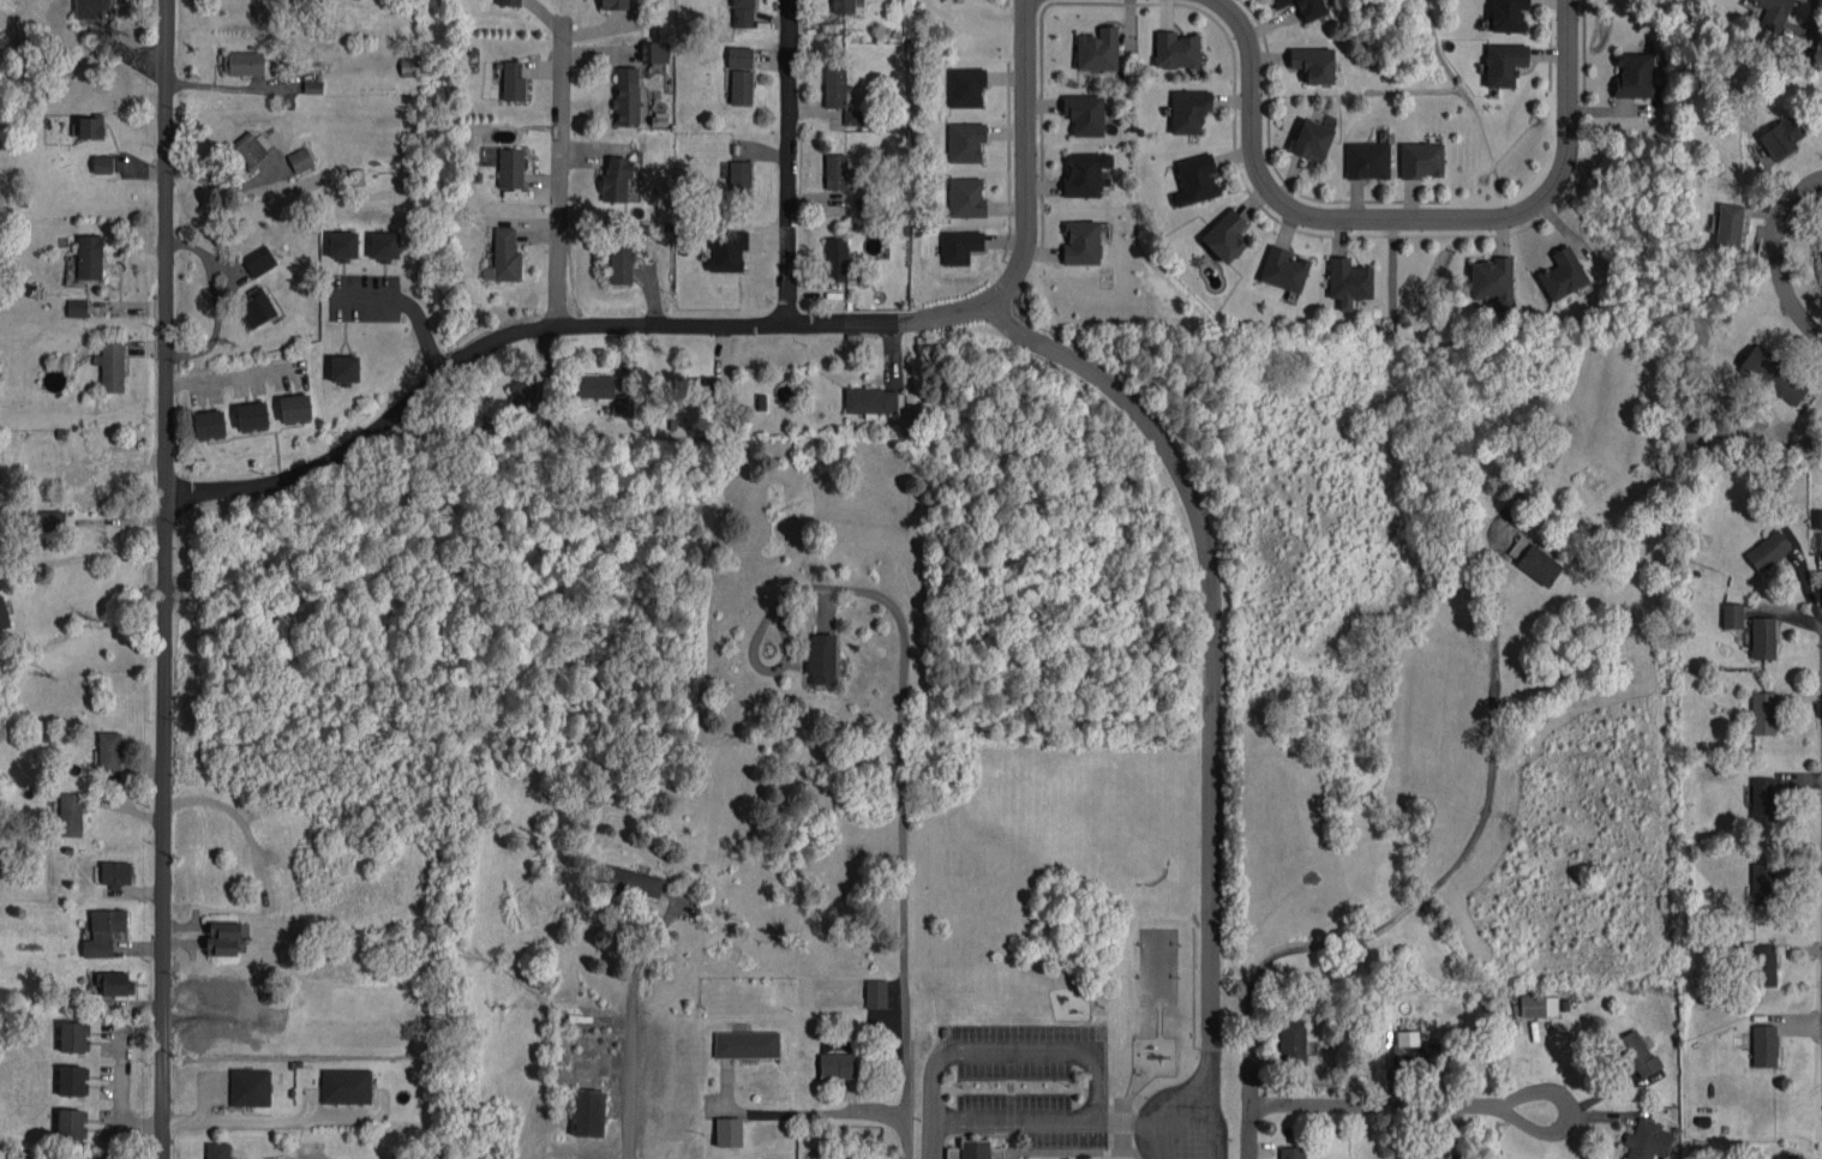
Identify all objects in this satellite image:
building: (509, 1)
building: (615, 4)
building: (843, 6)
building: (1303, 7)
building: (90, 8)
building: (1772, 12)
building: (743, 13)
building: (1508, 14)
building: (1097, 49)
building: (1176, 49)
building: (654, 52)
building: (739, 56)
building: (242, 62)
building: (1313, 62)
building: (1504, 64)
building: (410, 65)
building: (1634, 74)
building: (513, 80)
building: (834, 84)
building: (741, 86)
building: (965, 86)
building: (627, 95)
building: (1188, 109)
building: (1084, 113)
building: (852, 116)
building: (90, 126)
building: (1782, 136)
building: (1312, 139)
building: (965, 142)
building: (251, 148)
building: (300, 158)
building: (1421, 158)
building: (1367, 160)
road: (792, 162)
building: (102, 163)
building: (510, 167)
building: (835, 170)
building: (1084, 173)
building: (739, 175)
road: (1020, 175)
road: (561, 176)
building: (616, 178)
building: (1197, 179)
building: (966, 197)
road: (1397, 221)
building: (1727, 224)
building: (1225, 235)
building: (1081, 242)
building: (343, 245)
building: (384, 245)
building: (959, 245)
building: (727, 248)
road: (1781, 254)
building: (89, 256)
building: (504, 256)
building: (621, 258)
building: (835, 258)
building: (258, 260)
building: (1283, 269)
building: (1563, 274)
building: (1492, 280)
building: (1348, 281)
road: (215, 298)
building: (77, 307)
building: (256, 307)
road: (408, 310)
road: (701, 326)
building: (110, 364)
building: (344, 367)
road: (229, 373)
building: (1774, 374)
building: (703, 389)
building: (605, 392)
building: (522, 400)
building: (870, 400)
building: (294, 407)
building: (252, 415)
building: (209, 424)
building: (1552, 438)
building: (1815, 517)
building: (48, 520)
building: (1768, 550)
road: (83, 557)
building: (1534, 559)
road: (167, 578)
building: (4, 614)
building: (1732, 615)
building: (1763, 637)
building: (821, 659)
building: (1763, 713)
road: (901, 717)
building: (109, 751)
road: (1205, 781)
building: (1763, 798)
building: (70, 813)
park: (1116, 815)
road: (1454, 861)
building: (115, 872)
building: (633, 881)
building: (1762, 882)
building: (103, 931)
building: (222, 937)
building: (1763, 965)
park: (1156, 966)
building: (114, 983)
building: (226, 990)
building: (875, 993)
building: (1539, 1005)
building: (73, 1035)
building: (1291, 1041)
building: (747, 1044)
building: (1764, 1045)
road: (1019, 1050)
building: (1413, 1050)
building: (1637, 1053)
building: (838, 1065)
building: (72, 1080)
road: (629, 1081)
building: (346, 1085)
building: (250, 1087)
road: (118, 1100)
road: (1205, 1101)
road: (1152, 1106)
road: (1251, 1109)
road: (1370, 1109)
road: (811, 1111)
building: (589, 1112)
road: (282, 1117)
road: (1013, 1119)
building: (71, 1123)
building: (729, 1131)
road: (1535, 1133)
road: (905, 1135)
road: (930, 1139)
building: (1647, 1140)
building: (218, 1149)
building: (973, 1149)
building: (1291, 1152)
building: (1418, 1152)
building: (106, 1154)

